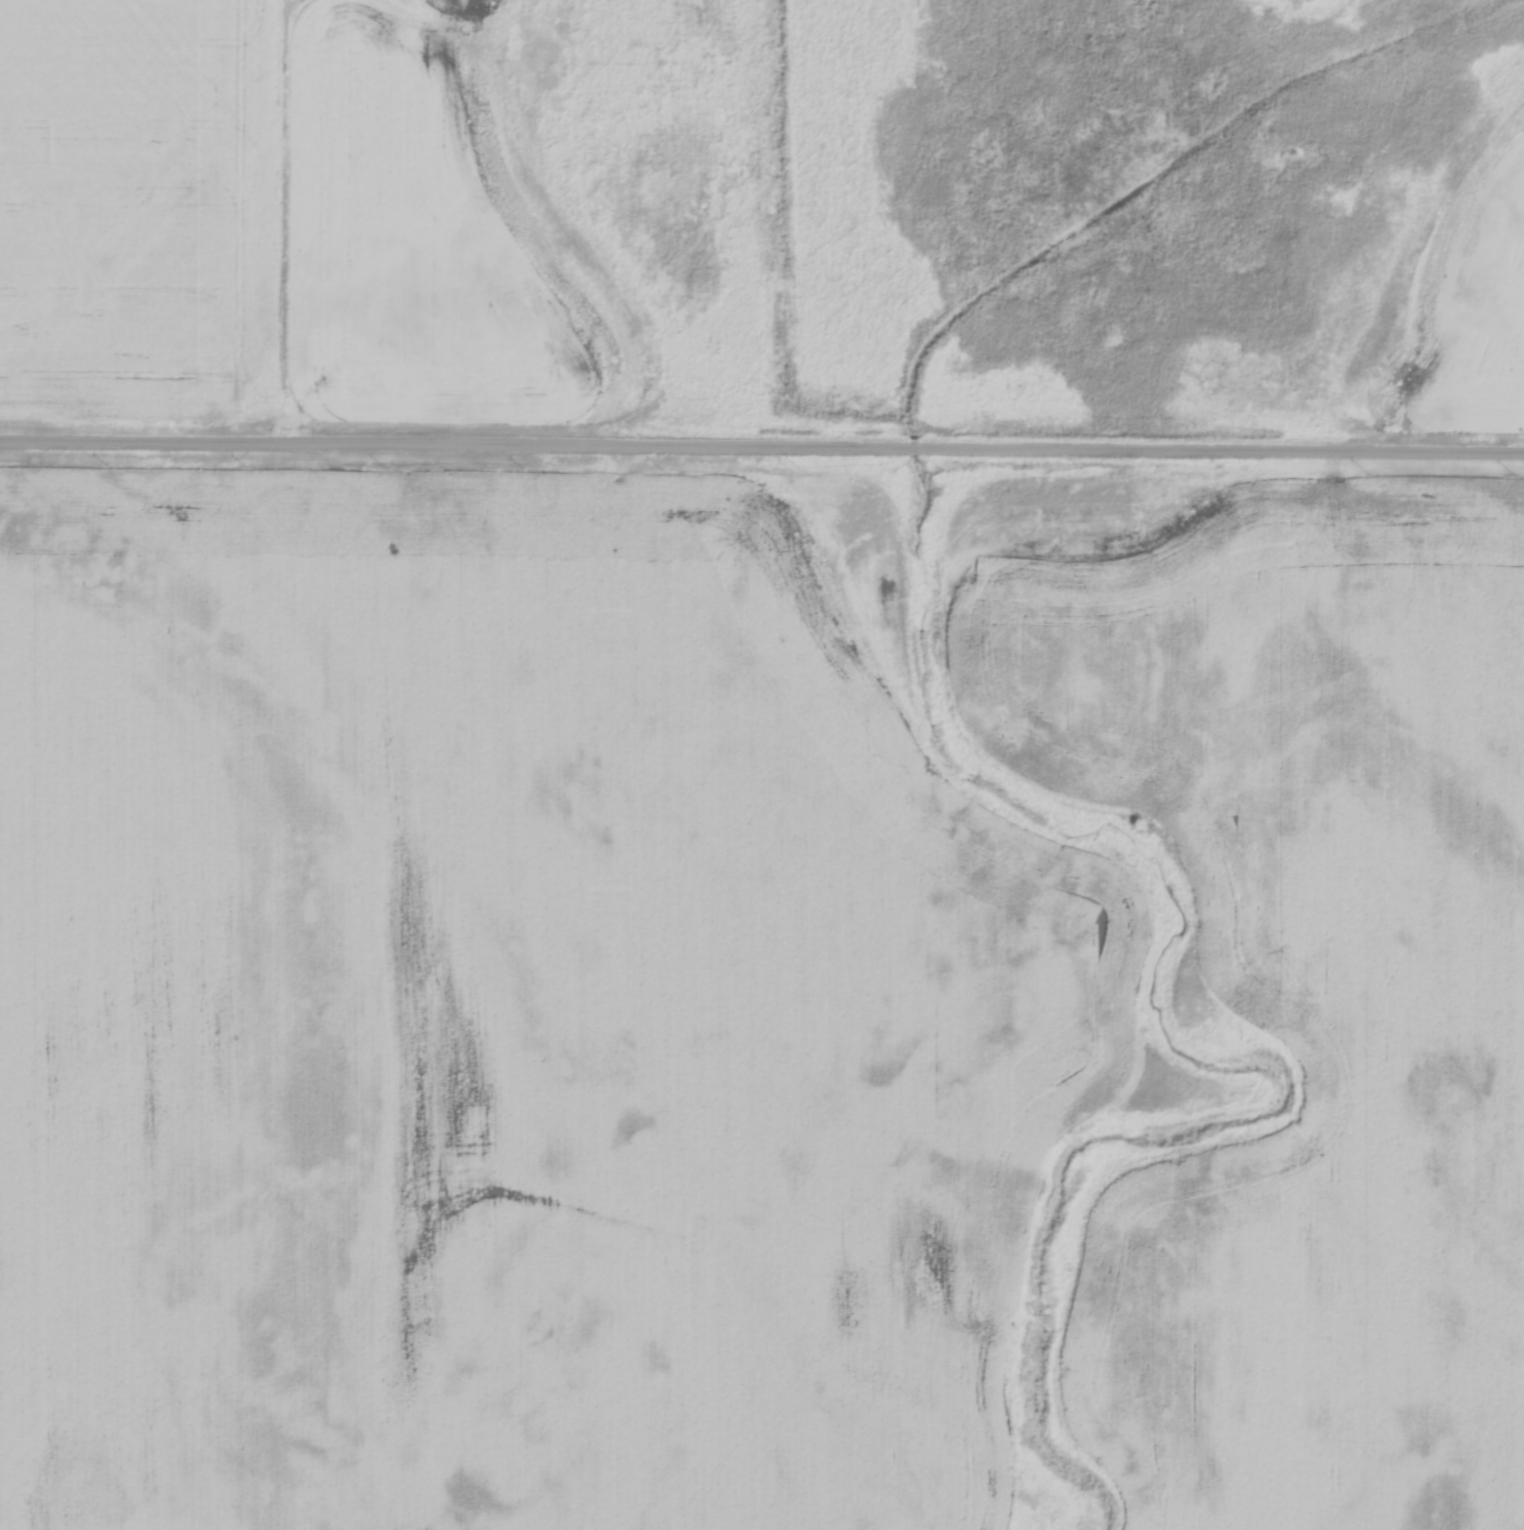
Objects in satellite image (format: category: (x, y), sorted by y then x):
crop: (1459, 297)
road: (761, 447)

